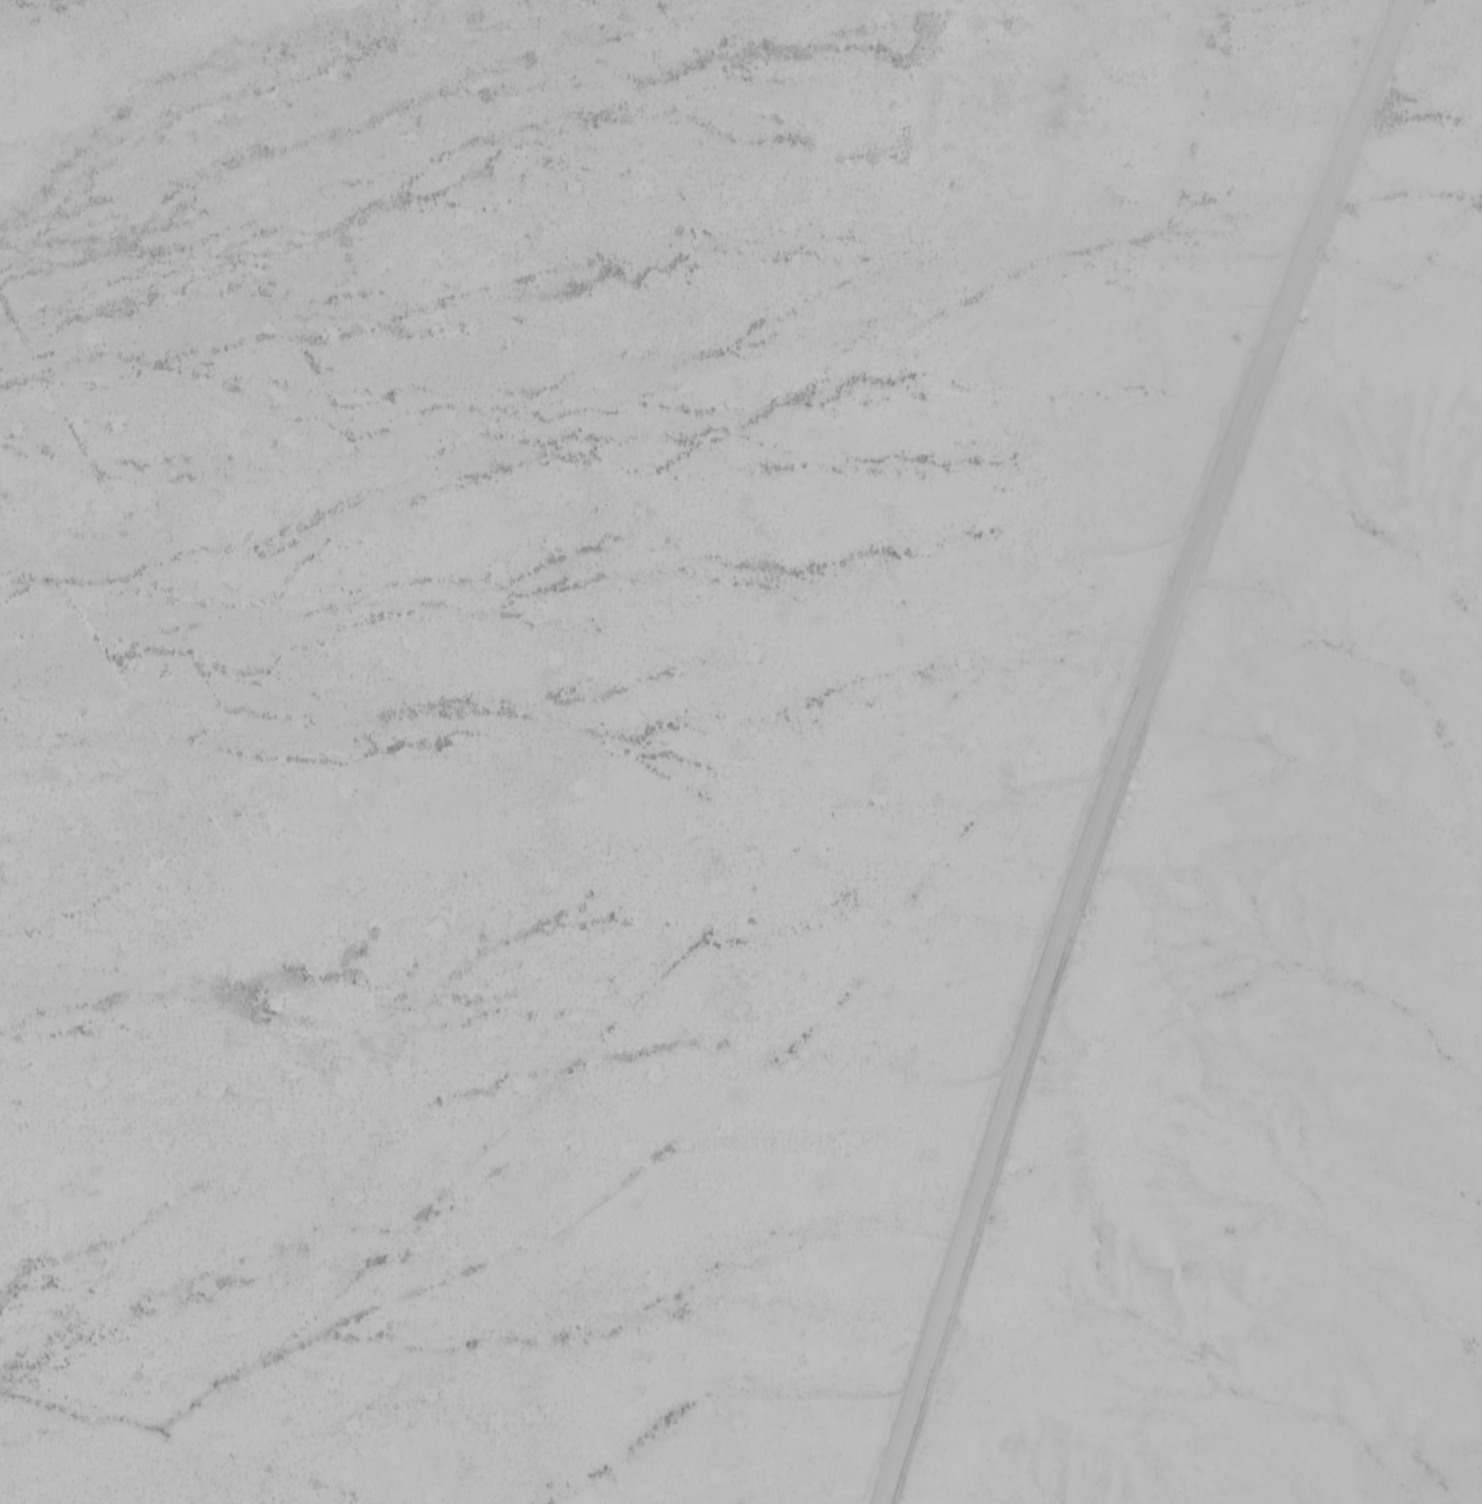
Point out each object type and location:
road: (1196, 56)
road: (1123, 746)
road: (332, 976)
road: (338, 1321)
road: (283, 1453)

